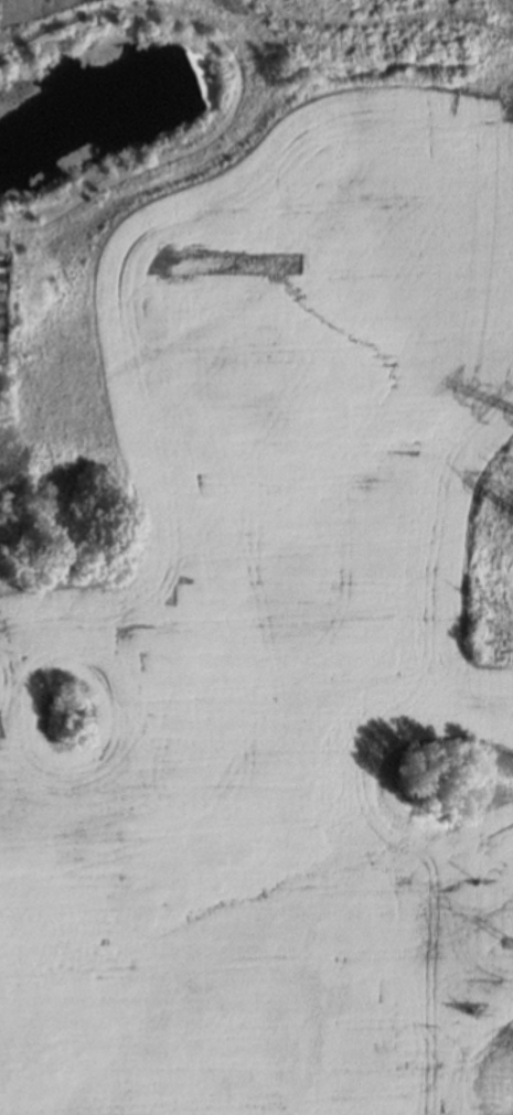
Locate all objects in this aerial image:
crop: (282, 656)
power tower: (507, 942)

